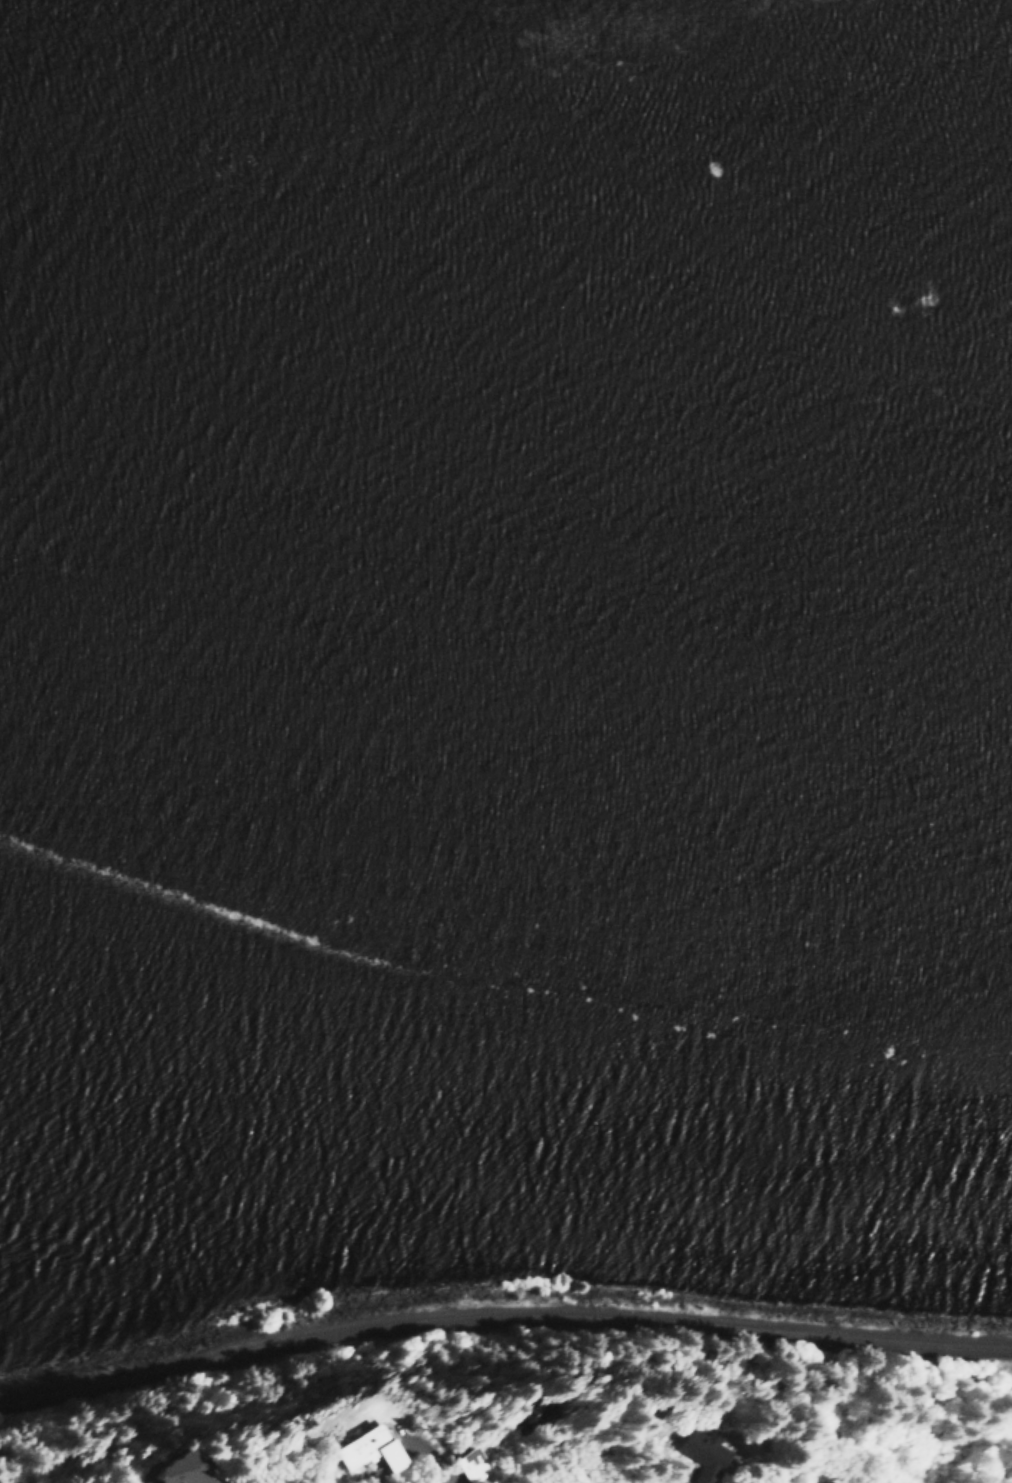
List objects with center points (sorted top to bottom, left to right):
railway: (501, 1317)
building: (365, 1447)
building: (704, 1454)
road: (429, 1467)
building: (168, 1470)
building: (824, 1482)

